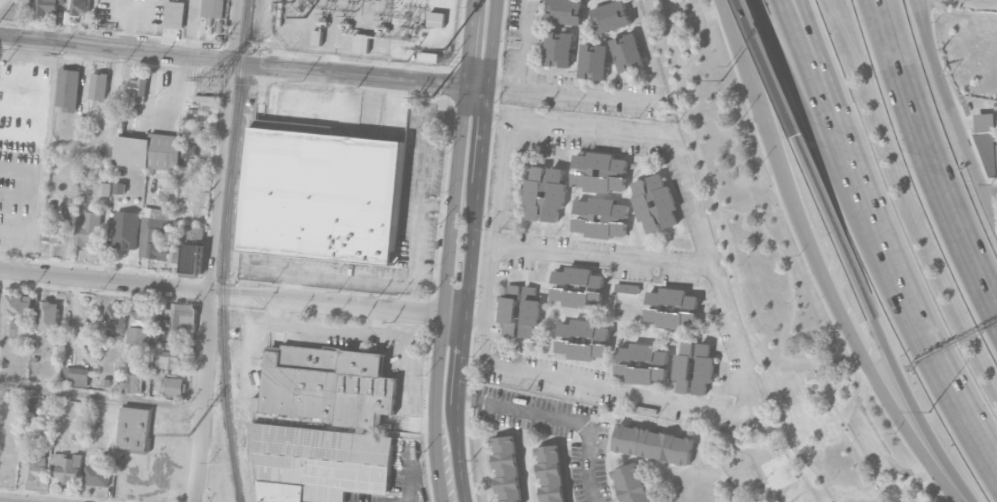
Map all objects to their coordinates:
building: (25, 4)
building: (48, 7)
building: (80, 7)
building: (213, 8)
building: (565, 11)
building: (174, 14)
road: (707, 14)
building: (610, 15)
building: (435, 19)
road: (923, 23)
power substation: (368, 28)
road: (267, 34)
building: (315, 37)
building: (361, 42)
road: (469, 42)
road: (523, 42)
power tower: (218, 46)
building: (559, 47)
road: (693, 47)
building: (627, 51)
building: (427, 56)
power tower: (388, 58)
road: (233, 60)
building: (593, 60)
road: (329, 62)
road: (378, 67)
road: (768, 68)
road: (396, 69)
road: (749, 72)
building: (98, 85)
power tower: (210, 85)
road: (477, 86)
building: (68, 89)
building: (137, 89)
road: (574, 90)
power tower: (432, 96)
road: (40, 101)
road: (329, 108)
road: (806, 108)
road: (474, 111)
road: (954, 113)
road: (495, 114)
road: (591, 126)
road: (927, 129)
road: (909, 132)
building: (193, 133)
road: (855, 137)
road: (834, 140)
building: (996, 146)
building: (987, 150)
building: (149, 151)
building: (599, 171)
building: (119, 187)
building: (103, 188)
building: (545, 193)
road: (990, 194)
building: (164, 195)
building: (322, 196)
road: (31, 198)
building: (654, 202)
road: (436, 205)
building: (600, 216)
building: (50, 224)
building: (87, 227)
building: (125, 229)
building: (153, 233)
road: (211, 250)
road: (470, 250)
railway: (224, 251)
building: (175, 253)
road: (732, 257)
building: (192, 260)
road: (410, 275)
park: (776, 281)
road: (289, 284)
building: (577, 286)
building: (627, 287)
road: (981, 288)
road: (231, 292)
road: (444, 293)
building: (18, 303)
road: (910, 303)
building: (671, 307)
building: (520, 309)
building: (48, 316)
building: (181, 316)
building: (115, 318)
road: (879, 322)
building: (140, 326)
building: (20, 328)
road: (329, 328)
road: (848, 332)
building: (583, 339)
building: (34, 344)
building: (55, 349)
road: (738, 350)
road: (788, 353)
building: (169, 355)
building: (129, 363)
building: (642, 363)
building: (119, 367)
building: (694, 367)
building: (78, 372)
road: (408, 372)
building: (133, 381)
building: (106, 382)
building: (330, 384)
building: (174, 387)
road: (100, 396)
road: (465, 397)
road: (957, 400)
building: (34, 401)
road: (567, 422)
building: (135, 428)
road: (876, 433)
power tower: (188, 434)
road: (171, 441)
building: (654, 443)
building: (321, 462)
road: (882, 466)
building: (36, 467)
building: (69, 467)
building: (507, 469)
road: (408, 471)
building: (551, 473)
building: (96, 475)
road: (155, 477)
building: (631, 483)

